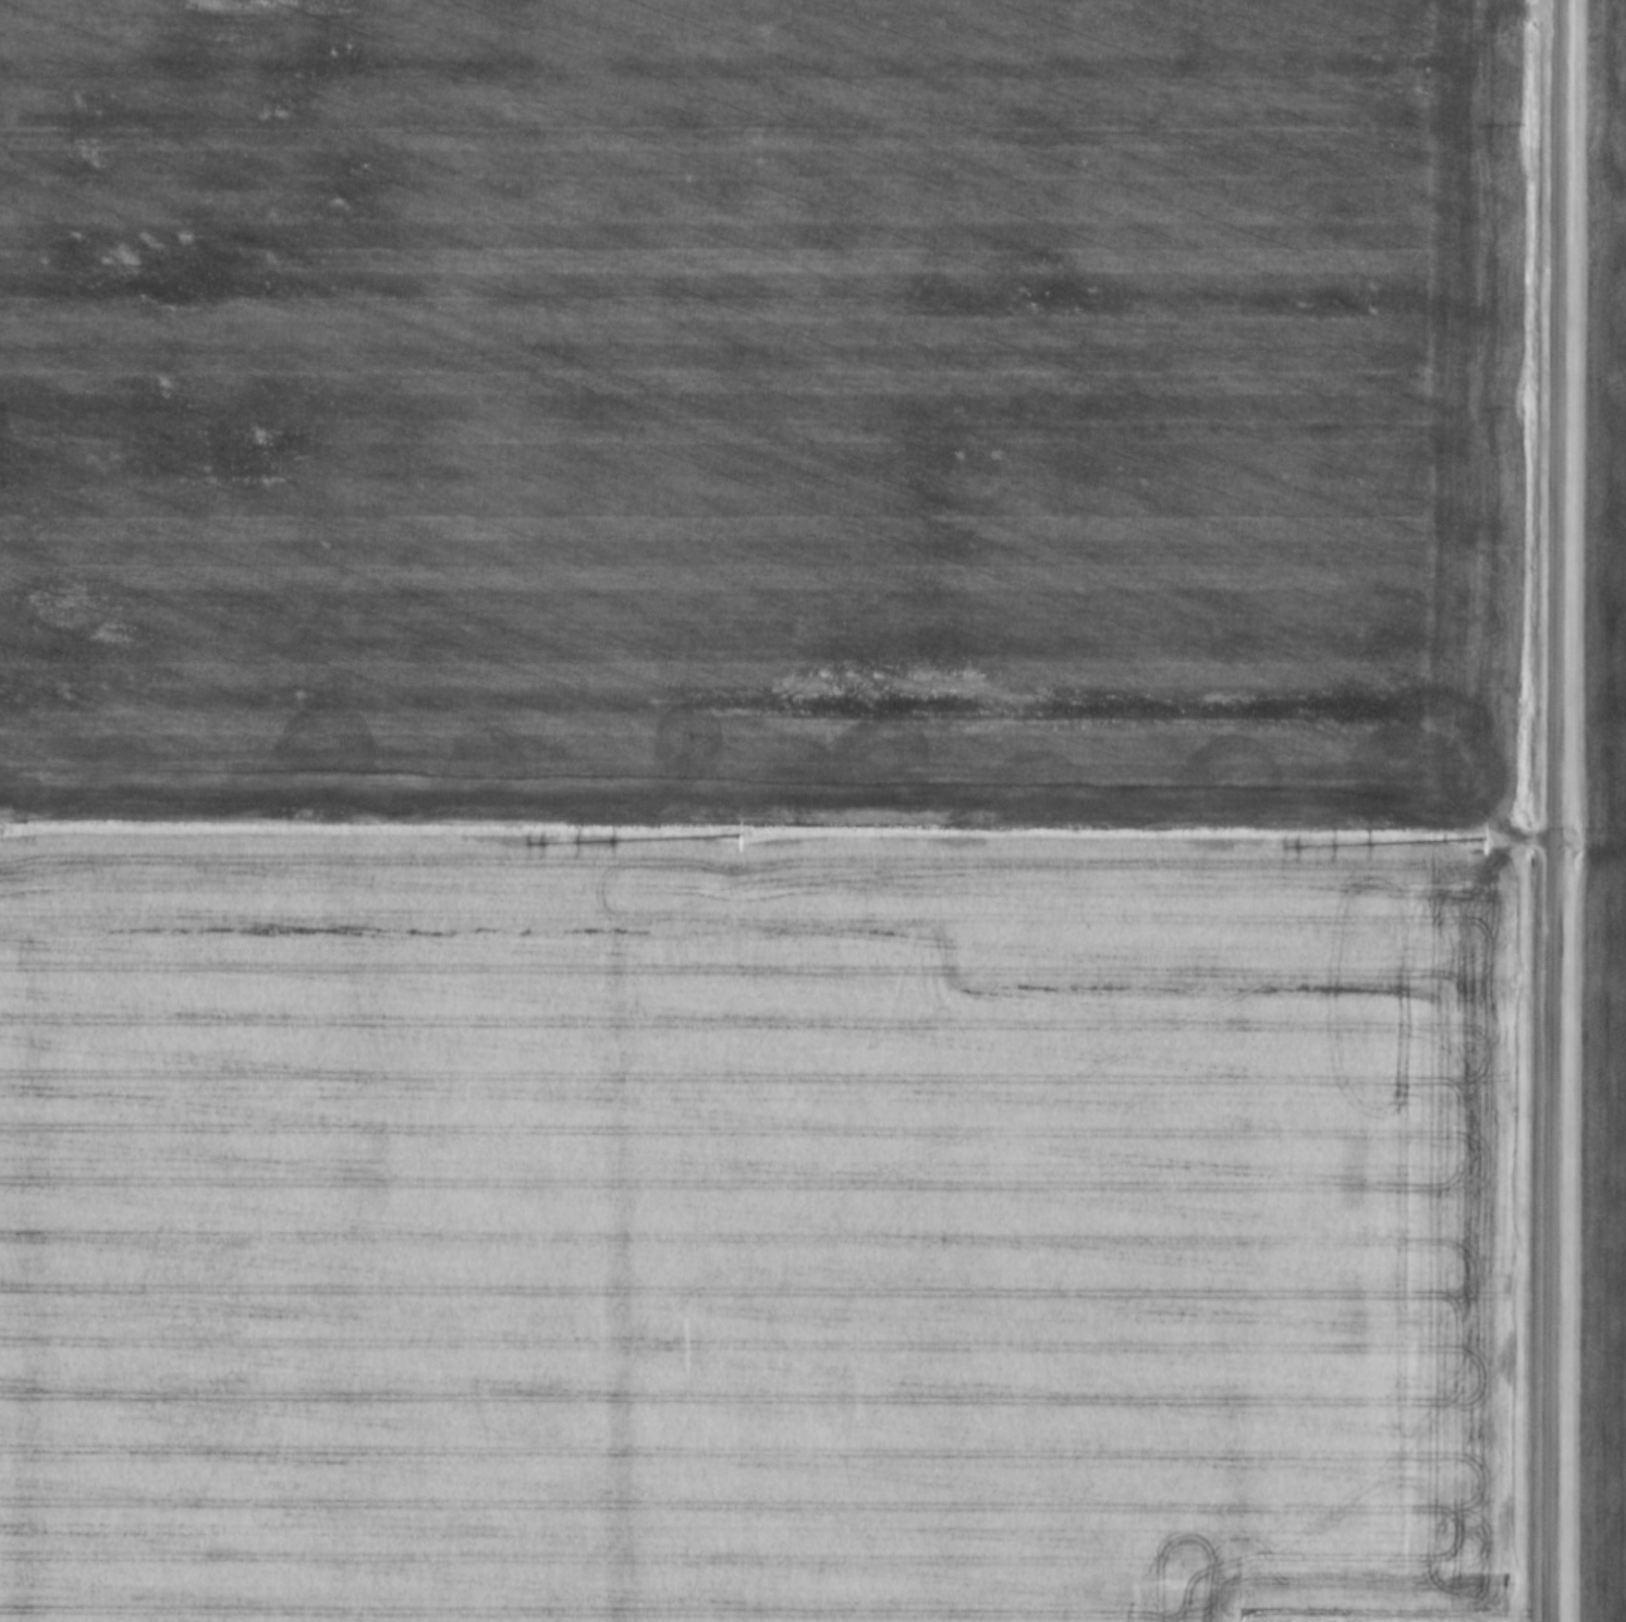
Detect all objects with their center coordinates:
road: (1555, 810)
power tower: (741, 839)
power tower: (1482, 841)

